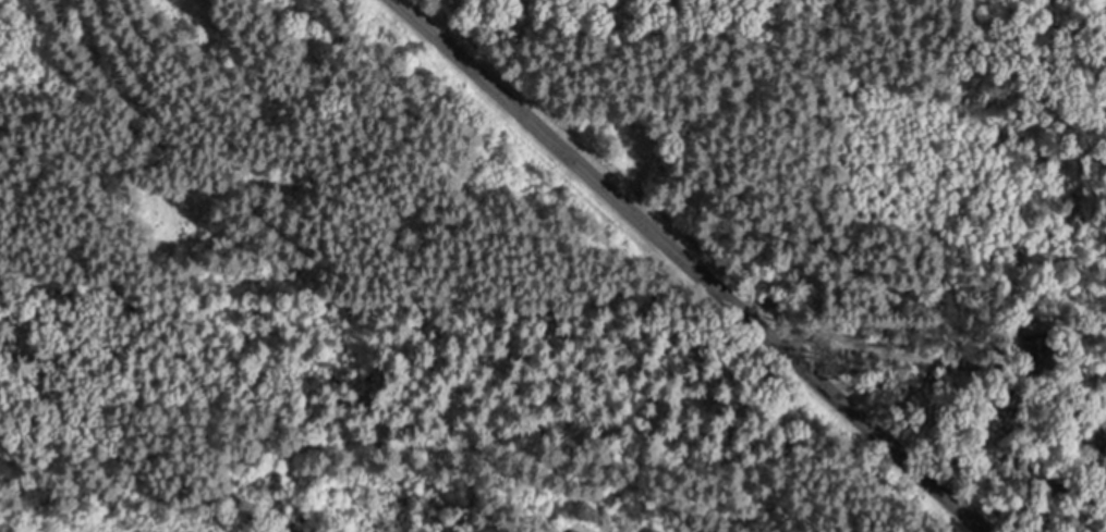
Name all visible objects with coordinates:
road: (691, 265)

